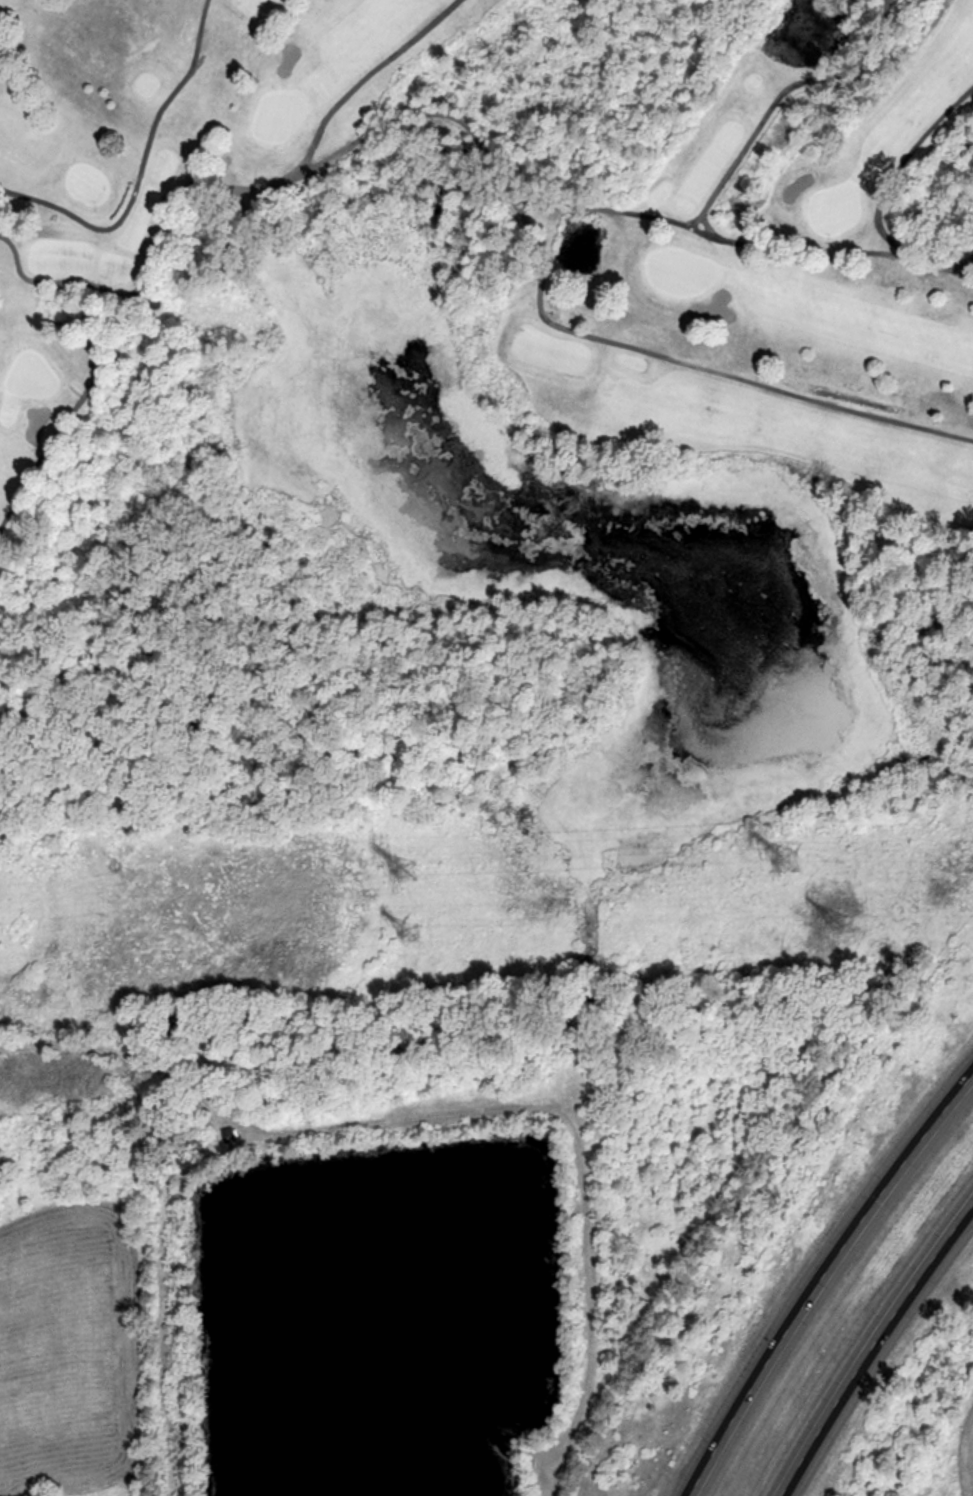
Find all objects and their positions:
road: (374, 75)
road: (898, 170)
road: (719, 187)
road: (134, 195)
road: (614, 212)
road: (528, 225)
park: (482, 253)
road: (943, 266)
road: (958, 272)
road: (55, 284)
road: (70, 413)
power tower: (789, 859)
power tower: (407, 869)
power tower: (838, 921)
power tower: (411, 931)
road: (824, 1279)
road: (875, 1346)

